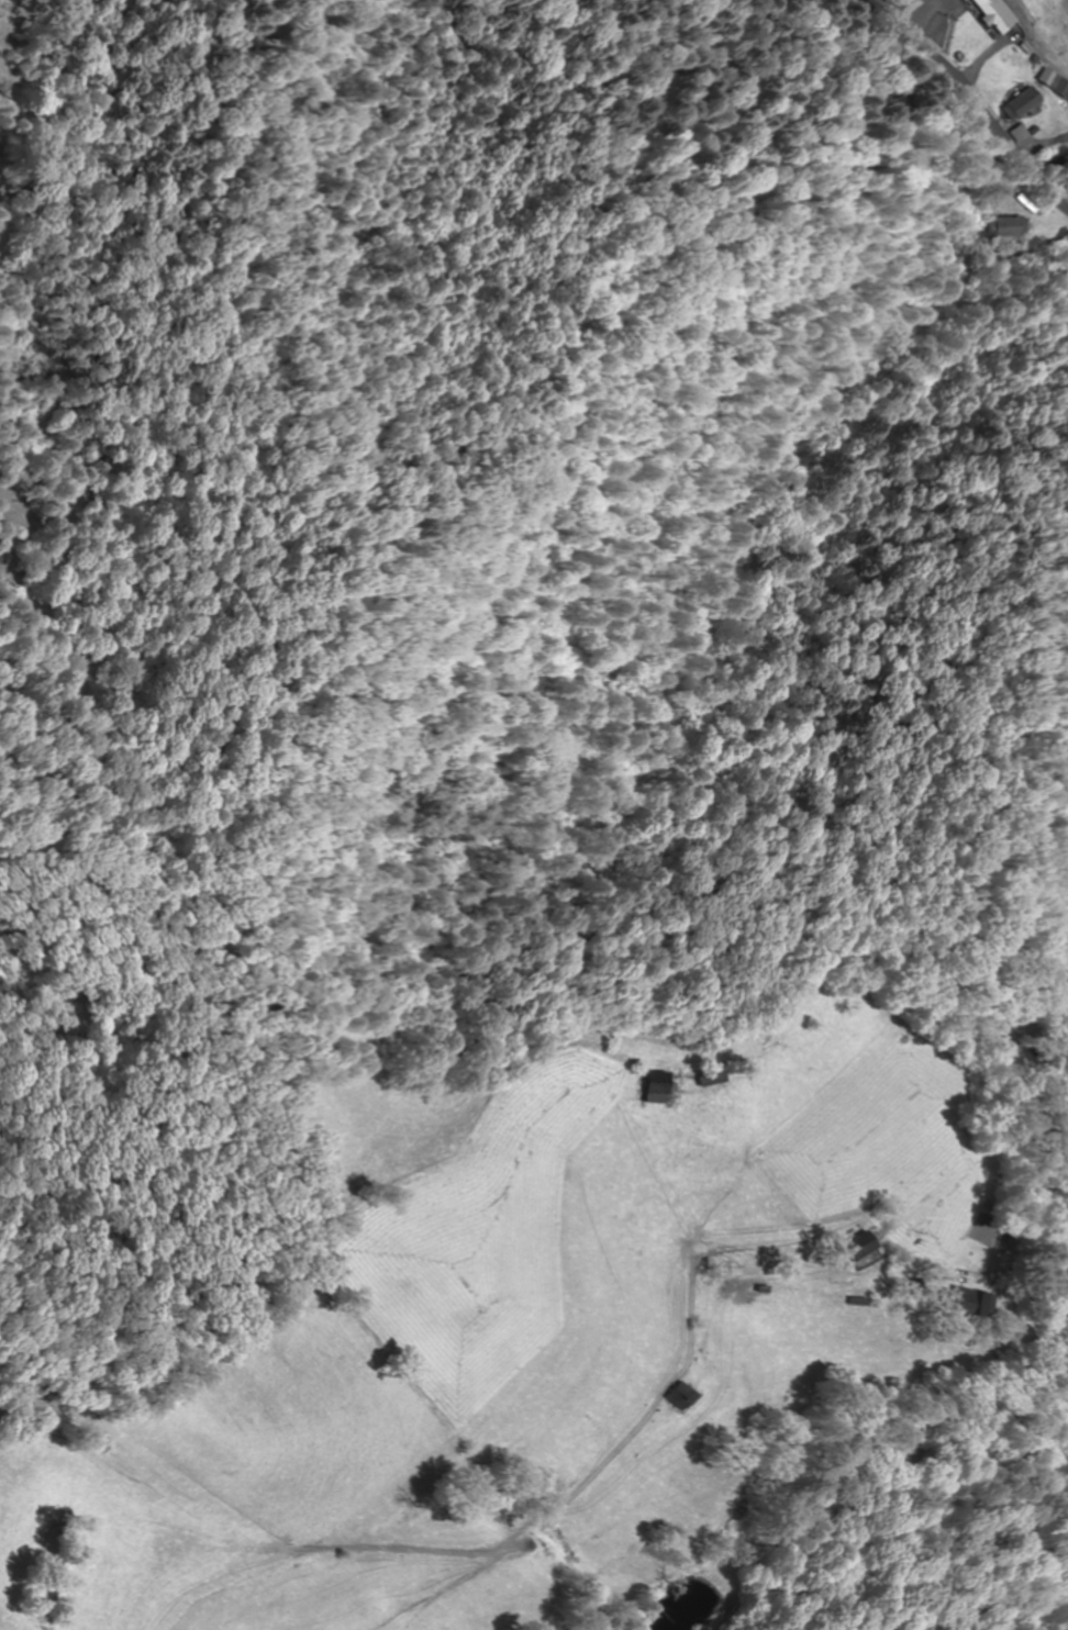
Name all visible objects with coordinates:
road: (905, 13)
road: (970, 94)

